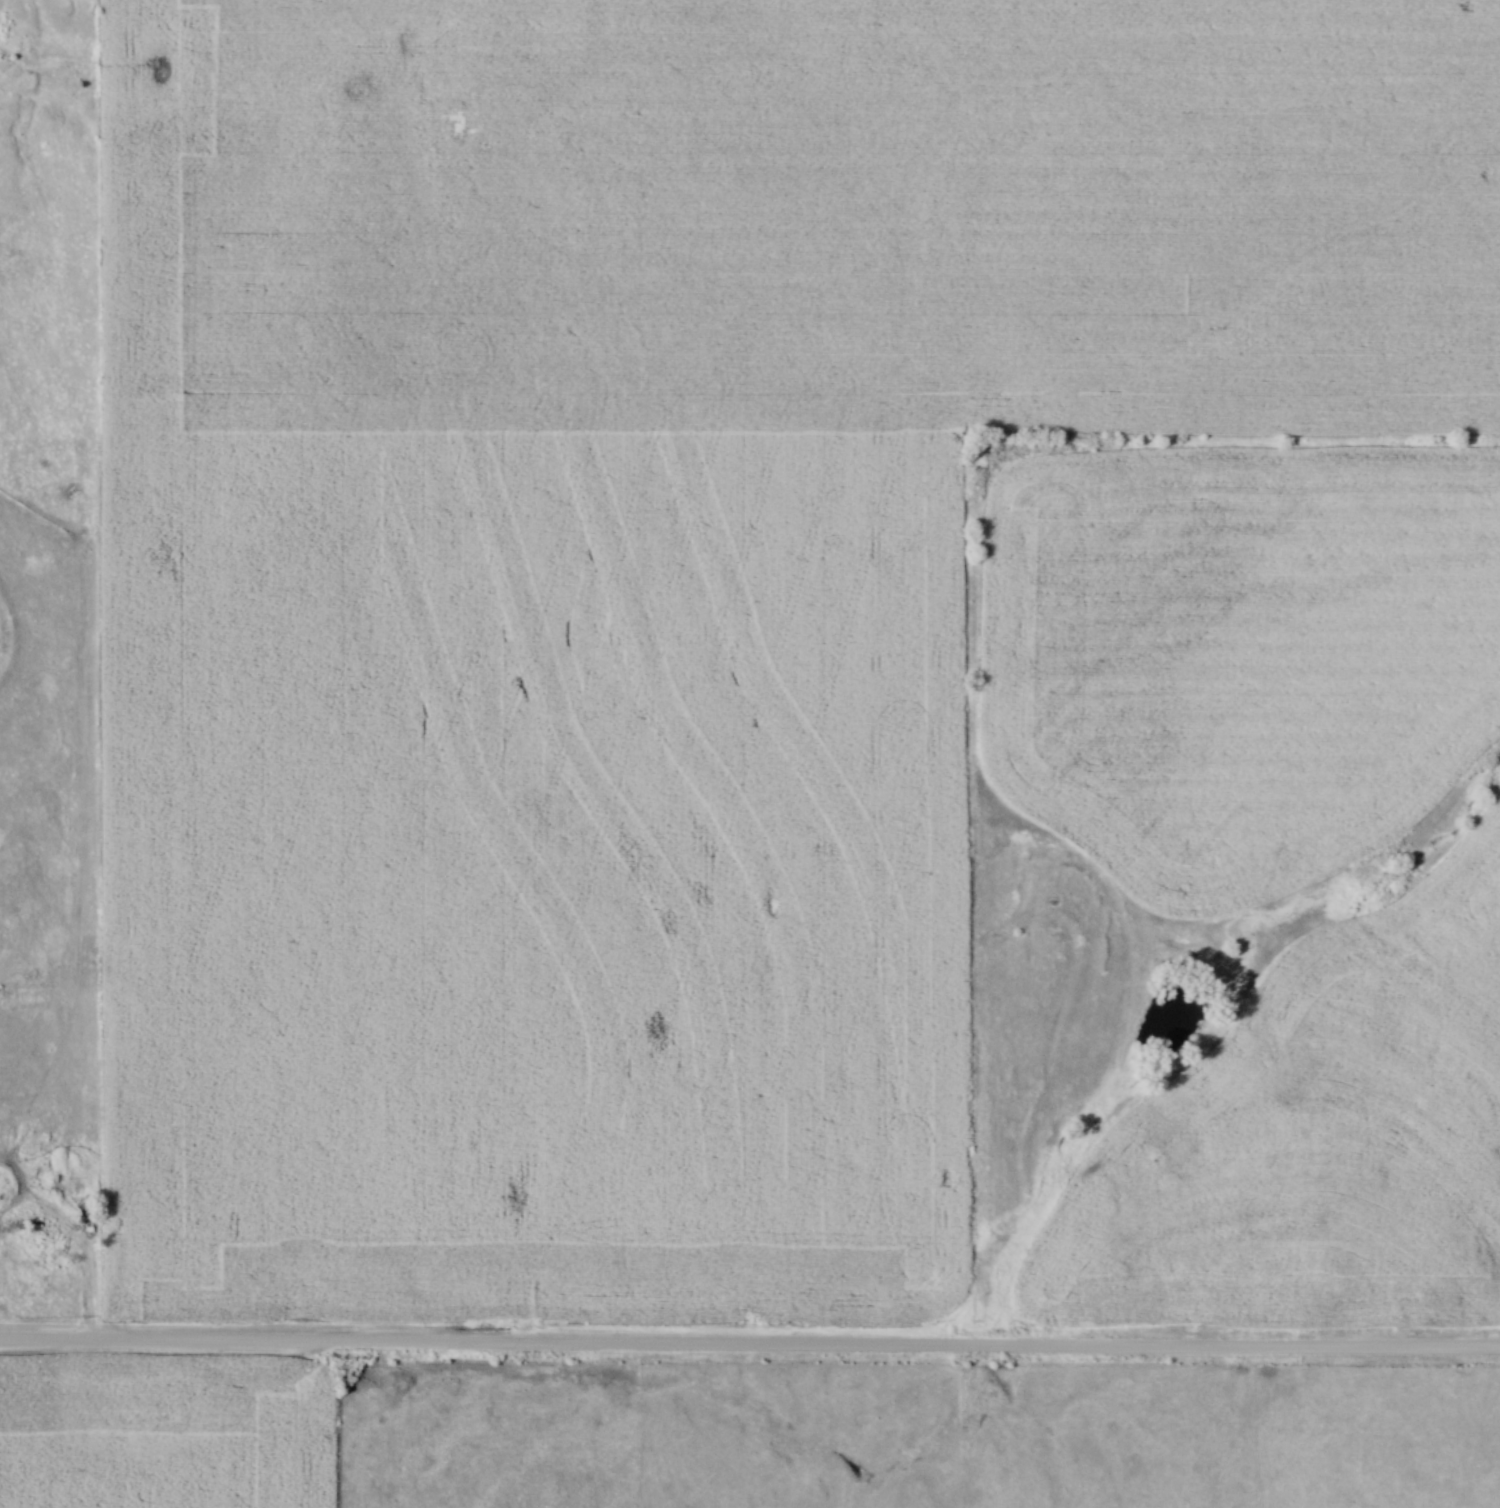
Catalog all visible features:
building: (32, 1143)
road: (83, 1253)
road: (750, 1344)

